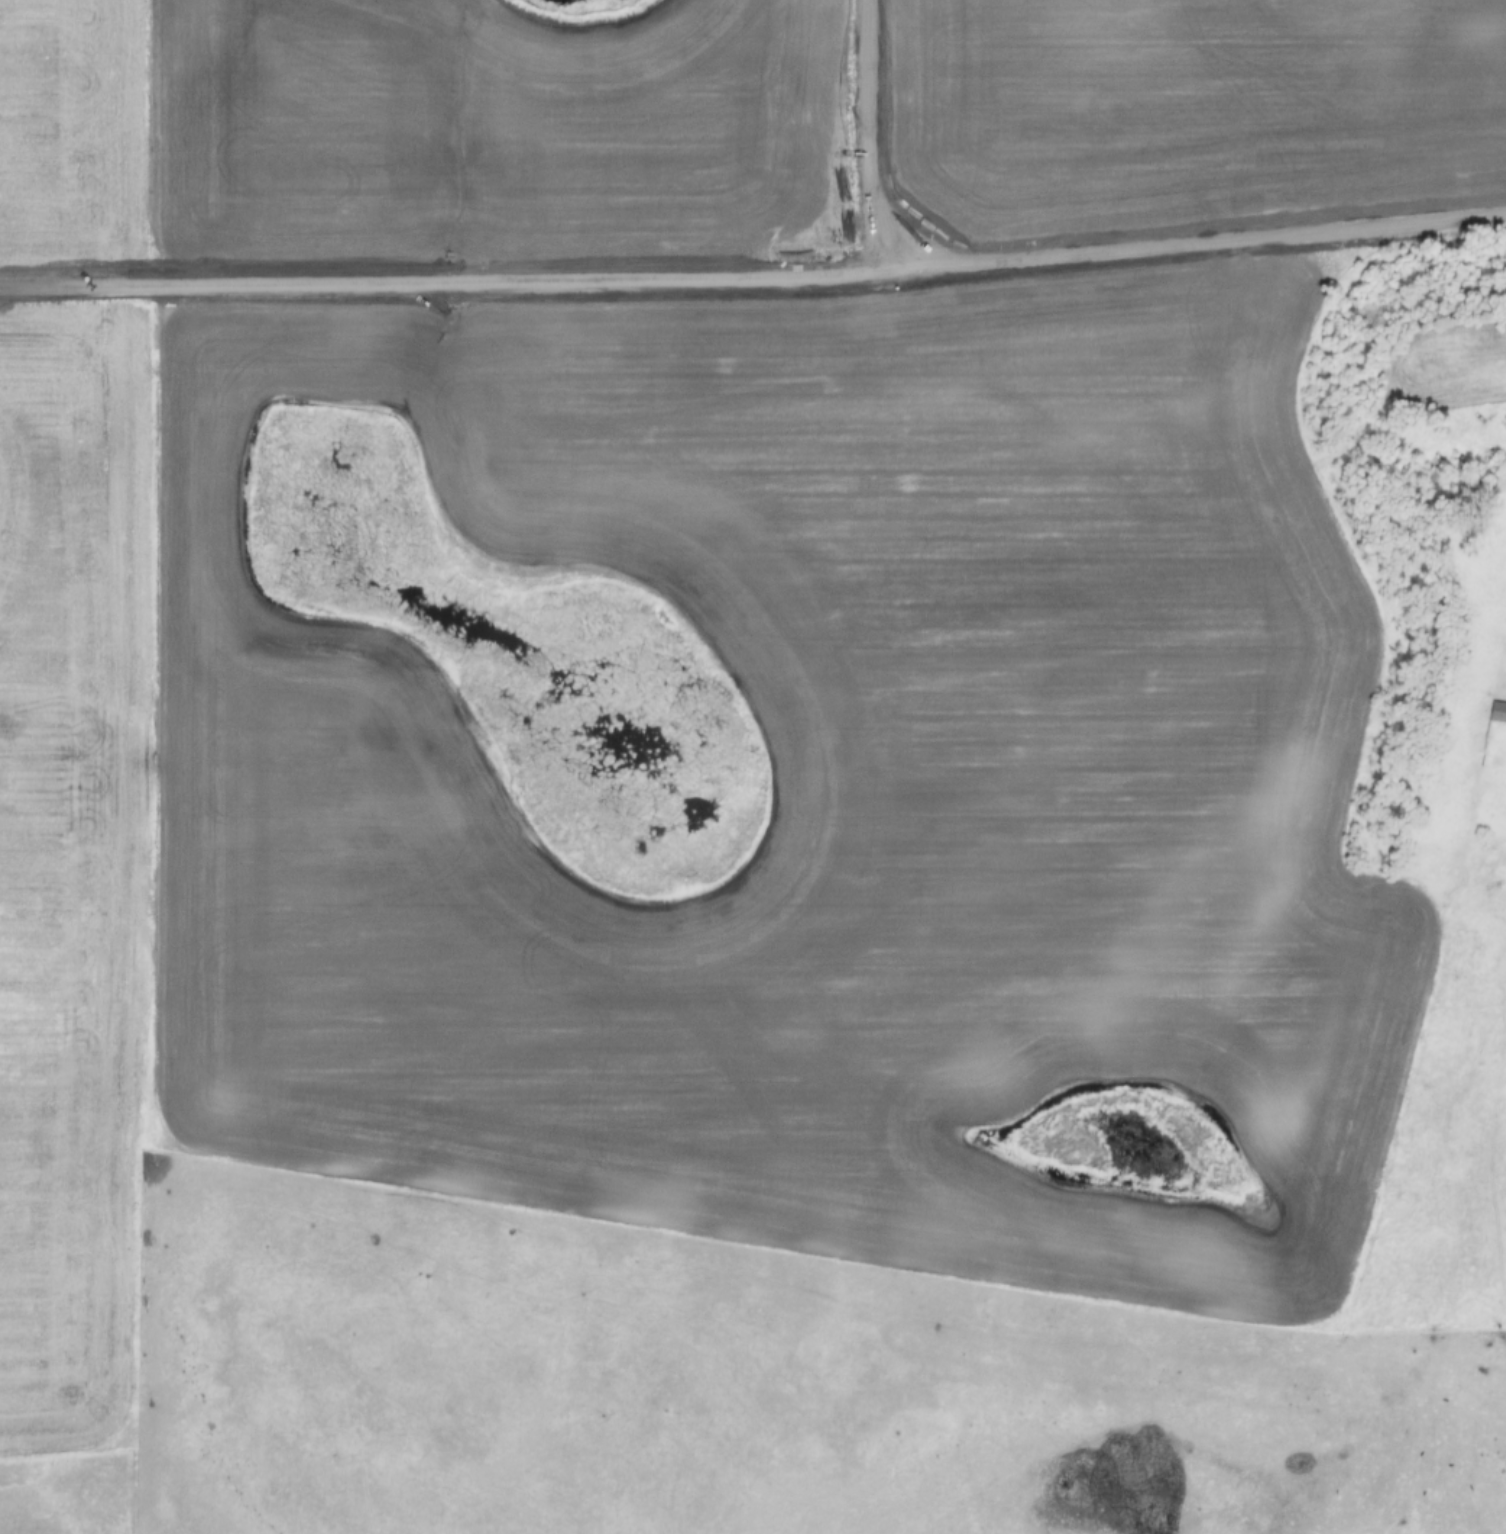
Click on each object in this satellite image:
building: (1497, 712)

